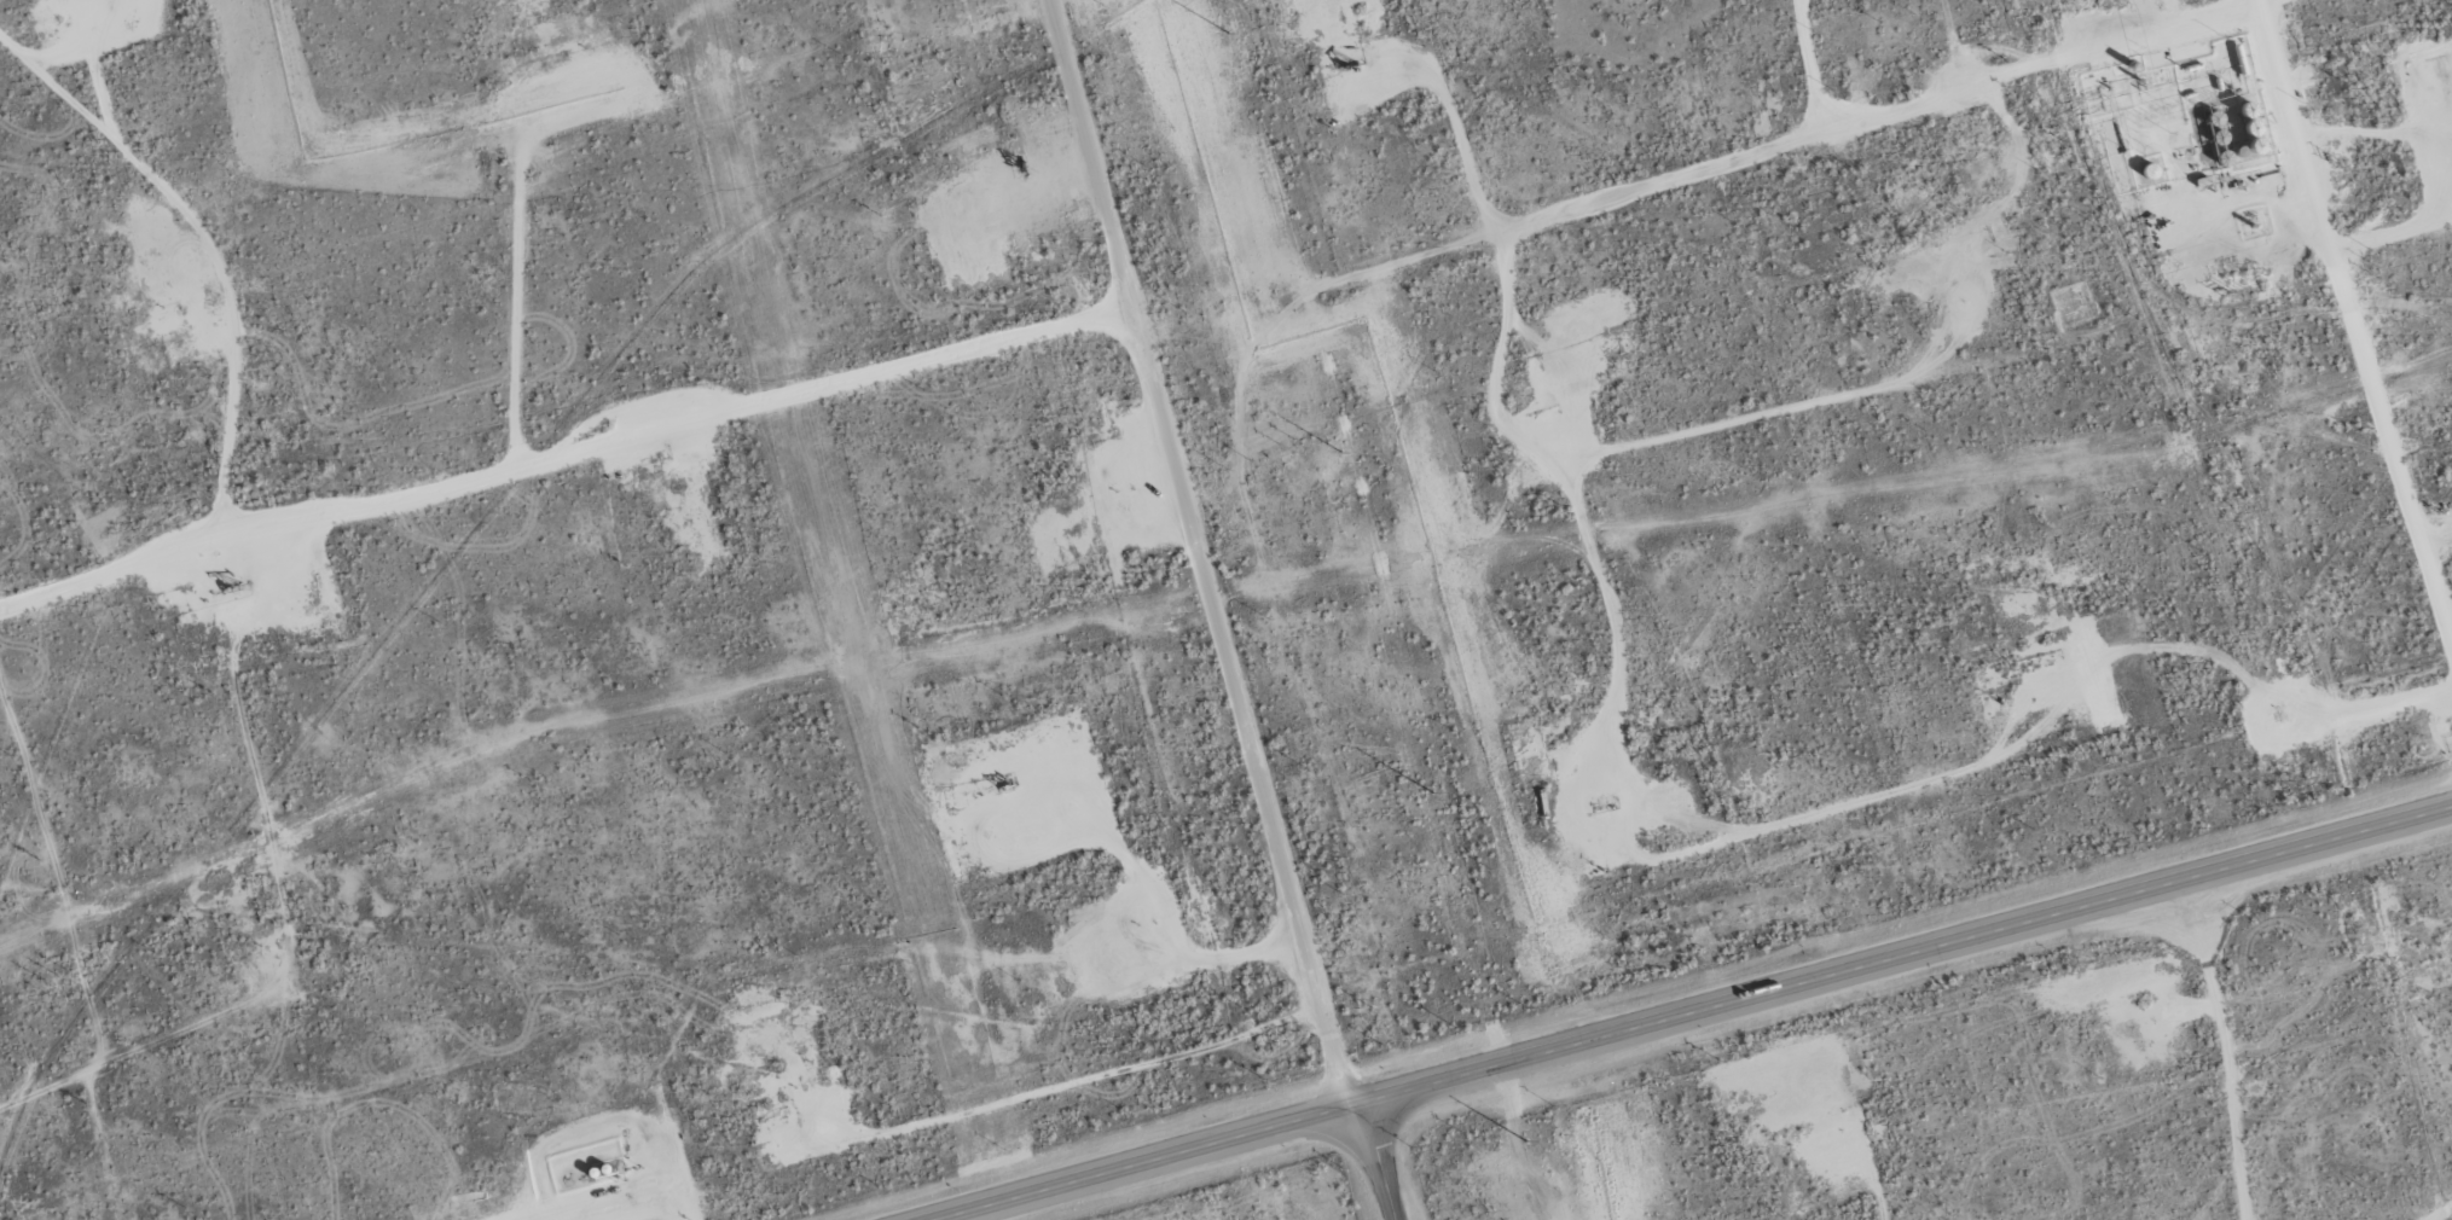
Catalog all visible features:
power tower: (1235, 80)
road: (1688, 168)
power tower: (1350, 496)
road: (1199, 554)
power tower: (1462, 913)
road: (1695, 1013)
power tower: (1519, 1127)
road: (1382, 1161)
road: (1403, 1210)

